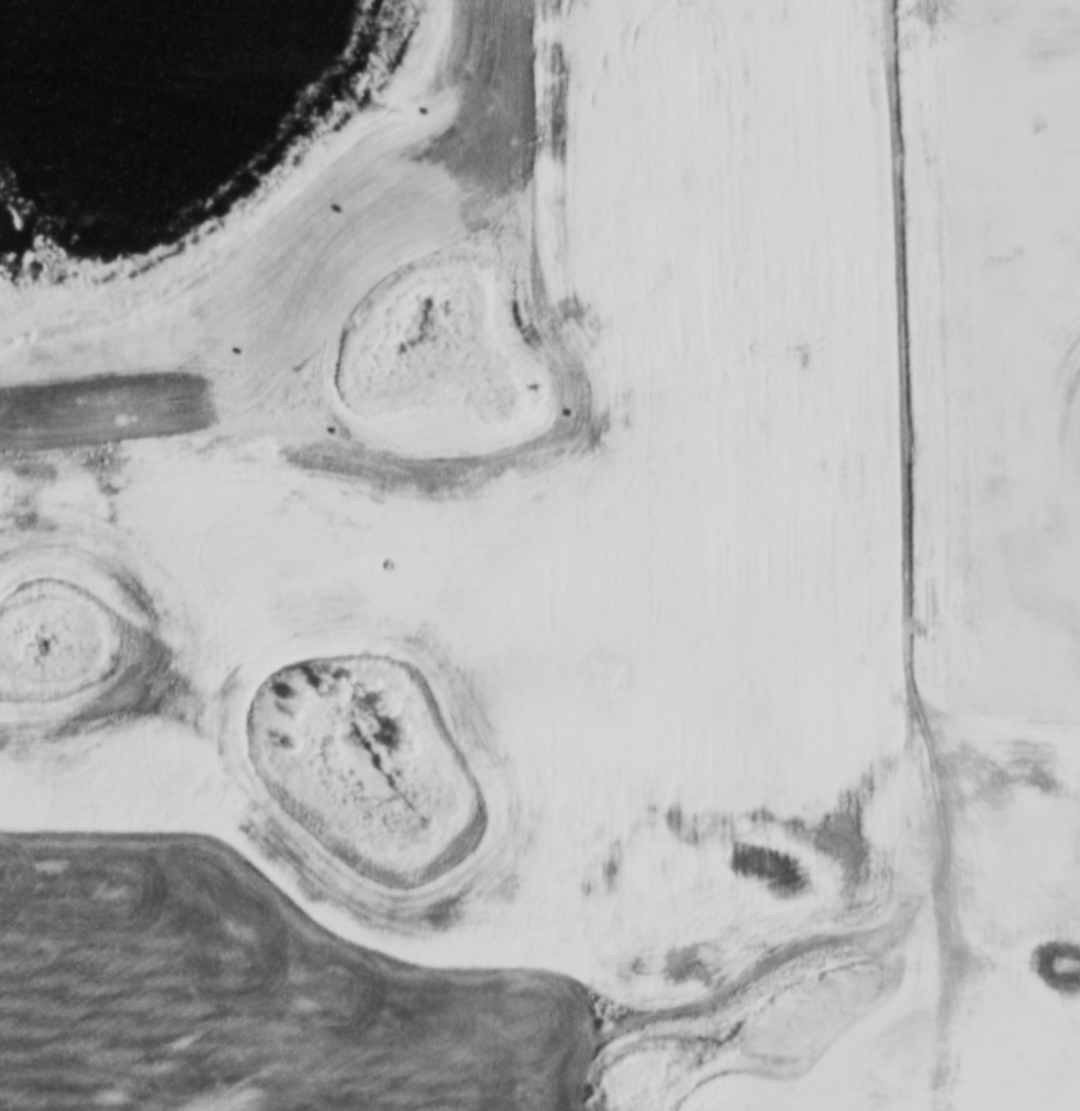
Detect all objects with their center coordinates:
road: (920, 540)
road: (956, 1101)

